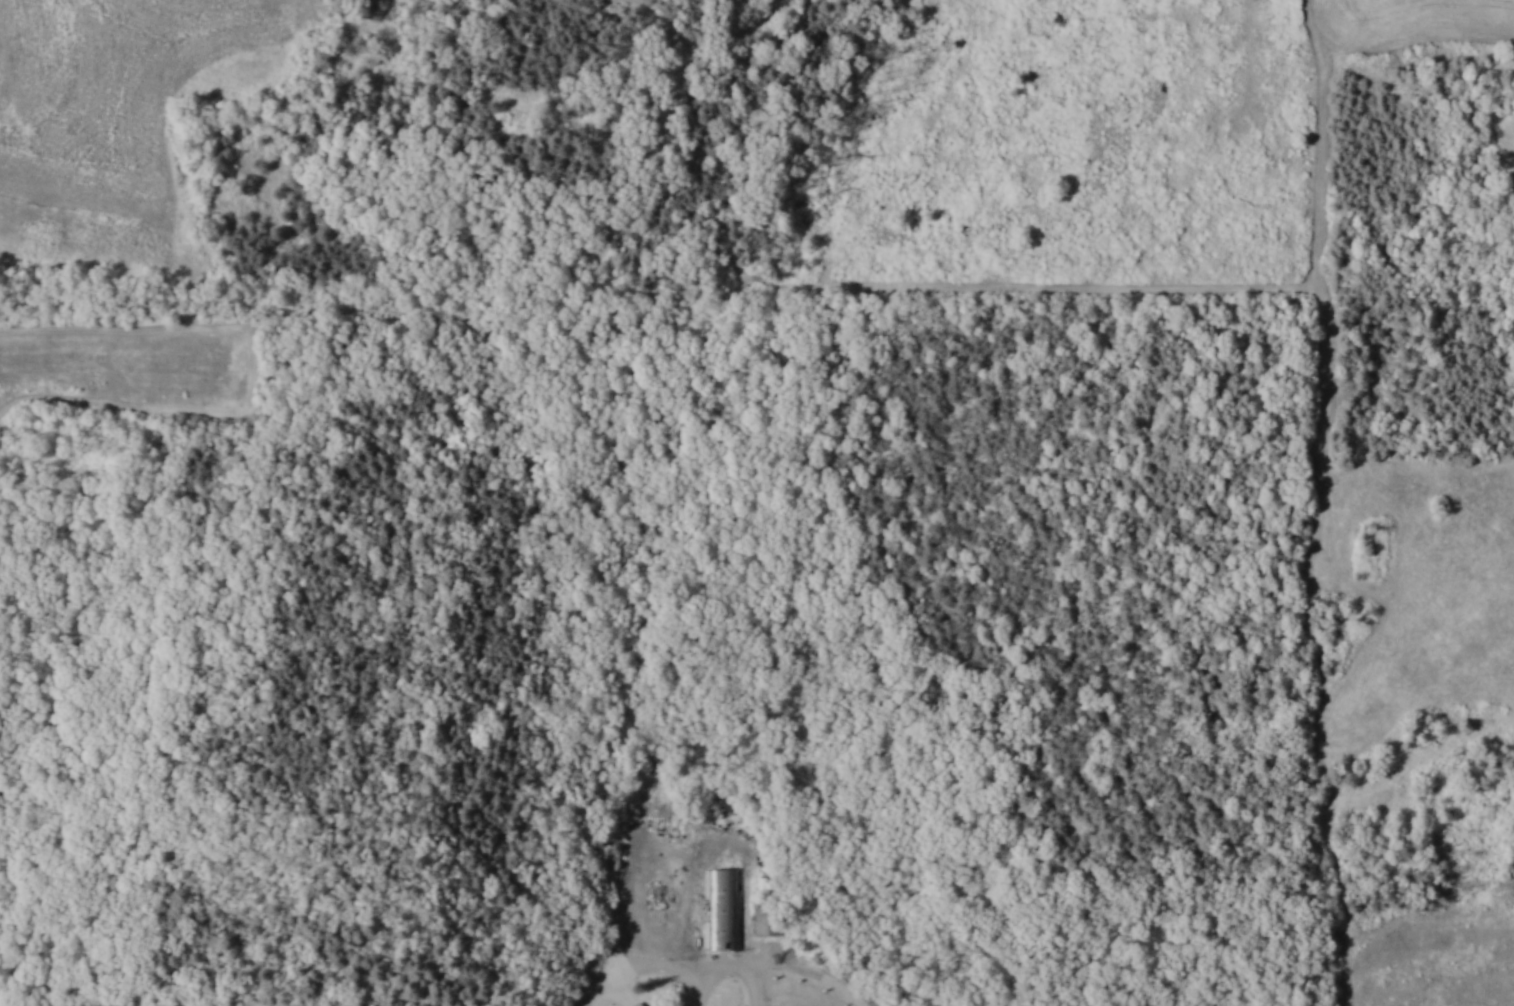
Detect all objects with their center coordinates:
building: (722, 908)
building: (773, 924)
road: (672, 972)
building: (642, 1004)

